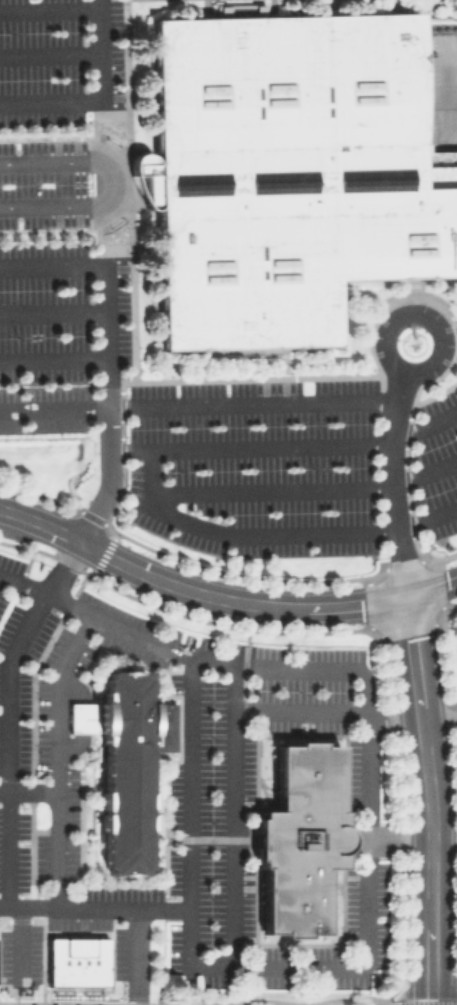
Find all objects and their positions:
road: (47, 10)
road: (48, 54)
parking lot: (59, 60)
road: (450, 86)
road: (97, 99)
fountain: (112, 141)
building: (287, 171)
parking lot: (43, 183)
road: (110, 183)
fountain: (112, 225)
road: (102, 284)
road: (51, 311)
road: (414, 313)
road: (449, 329)
parking lot: (57, 331)
road: (52, 357)
road: (178, 404)
road: (53, 407)
road: (423, 424)
road: (248, 445)
parking lot: (289, 466)
road: (388, 482)
road: (306, 488)
road: (274, 533)
road: (24, 585)
road: (221, 596)
road: (9, 657)
road: (74, 684)
road: (59, 701)
road: (412, 715)
road: (82, 717)
road: (72, 747)
building: (123, 762)
road: (188, 781)
road: (366, 797)
road: (428, 799)
road: (233, 815)
building: (299, 837)
road: (398, 841)
road: (8, 849)
road: (27, 906)
road: (58, 907)
road: (18, 944)
building: (77, 961)

